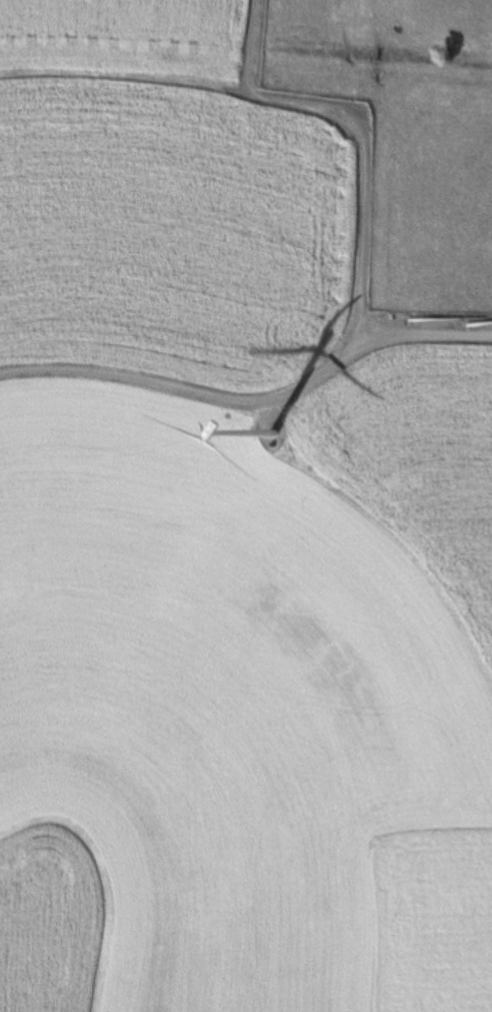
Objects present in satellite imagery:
road: (250, 397)
wind turbine: (278, 449)

